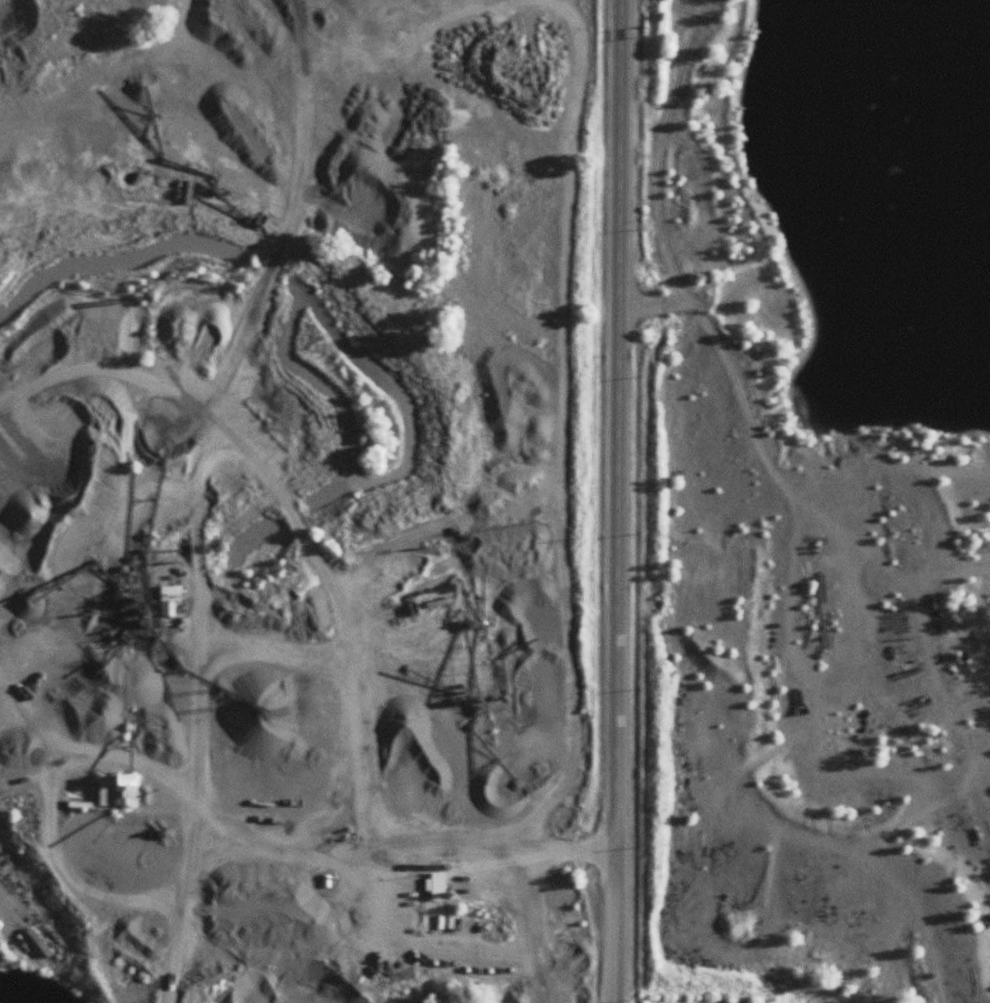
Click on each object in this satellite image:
road: (618, 501)
building: (171, 600)
building: (118, 788)
road: (537, 844)
road: (192, 849)
building: (438, 886)

